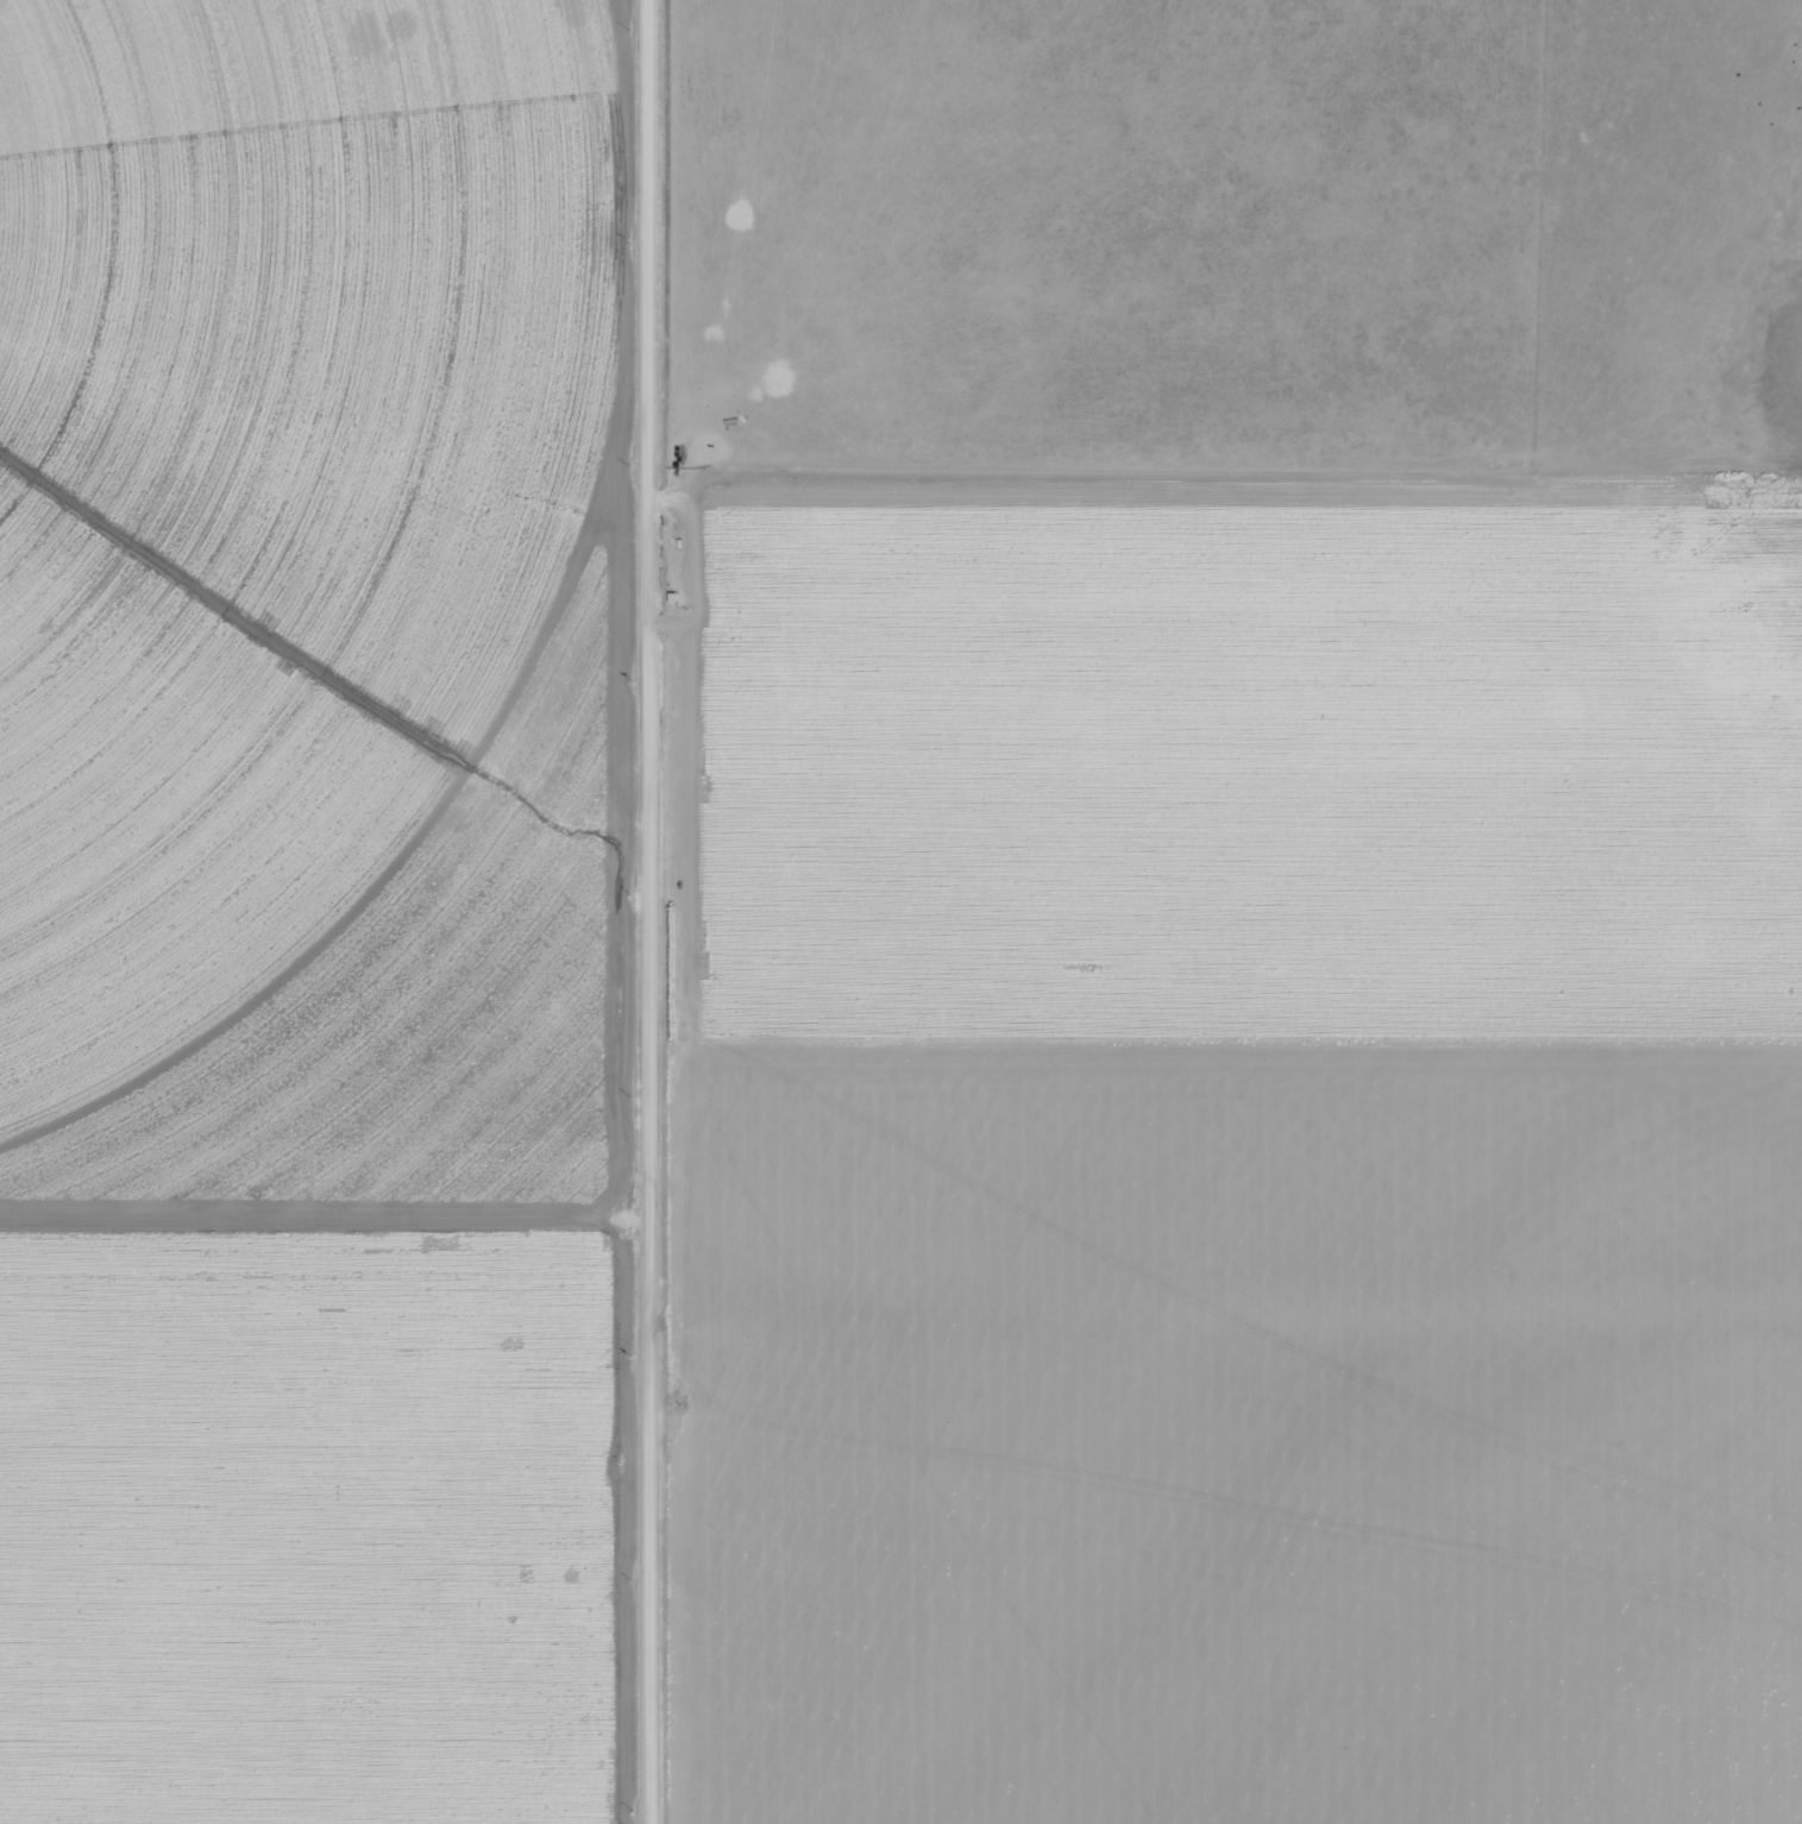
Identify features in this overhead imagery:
road: (632, 912)
road: (316, 1151)

